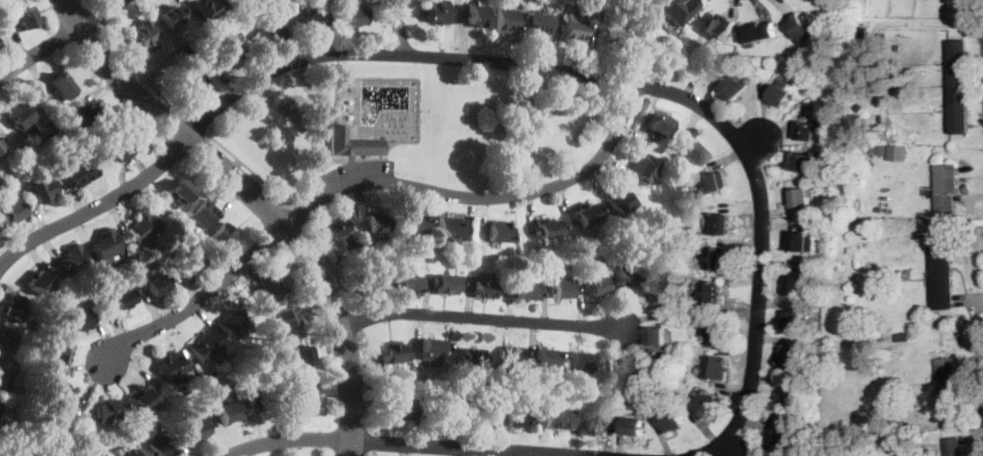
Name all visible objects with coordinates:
road: (84, 4)
building: (206, 8)
building: (676, 9)
building: (437, 12)
building: (476, 14)
road: (100, 15)
building: (172, 15)
building: (354, 16)
building: (26, 18)
road: (95, 18)
building: (307, 20)
building: (506, 20)
building: (542, 23)
building: (271, 26)
building: (804, 26)
road: (398, 27)
building: (573, 28)
building: (720, 28)
building: (759, 32)
building: (143, 35)
building: (270, 35)
building: (613, 39)
building: (231, 50)
road: (38, 53)
road: (141, 79)
building: (189, 82)
road: (639, 85)
building: (63, 87)
building: (957, 87)
building: (733, 88)
building: (781, 94)
building: (859, 106)
building: (89, 113)
building: (21, 116)
road: (199, 123)
building: (658, 123)
road: (525, 129)
building: (808, 130)
building: (521, 140)
building: (351, 143)
building: (120, 146)
building: (0, 147)
building: (897, 151)
building: (690, 153)
building: (85, 155)
building: (805, 162)
road: (247, 168)
building: (643, 168)
building: (80, 173)
building: (713, 181)
building: (945, 187)
building: (42, 191)
building: (179, 192)
road: (481, 197)
road: (258, 199)
building: (799, 200)
building: (620, 202)
road: (98, 206)
building: (11, 211)
building: (585, 213)
building: (202, 214)
road: (298, 215)
building: (413, 222)
building: (375, 223)
building: (144, 225)
building: (720, 225)
building: (335, 227)
building: (450, 227)
building: (548, 229)
building: (500, 231)
building: (223, 237)
building: (798, 241)
building: (106, 242)
building: (73, 258)
building: (396, 259)
building: (714, 259)
building: (190, 261)
road: (330, 266)
building: (625, 273)
building: (941, 277)
building: (40, 281)
building: (155, 281)
building: (270, 284)
building: (446, 284)
building: (369, 285)
building: (595, 285)
building: (793, 285)
building: (409, 286)
building: (484, 289)
building: (560, 289)
building: (525, 291)
building: (710, 293)
building: (654, 296)
building: (122, 297)
road: (200, 300)
building: (12, 307)
road: (481, 318)
building: (286, 319)
building: (794, 320)
building: (80, 321)
building: (232, 321)
road: (357, 323)
building: (716, 332)
building: (657, 336)
building: (904, 336)
building: (5, 342)
building: (207, 346)
building: (431, 351)
building: (61, 352)
building: (392, 352)
building: (302, 356)
building: (512, 356)
building: (472, 357)
building: (544, 357)
building: (789, 357)
building: (578, 362)
building: (172, 364)
building: (828, 365)
building: (635, 367)
building: (716, 367)
building: (6, 379)
road: (368, 382)
building: (948, 383)
building: (60, 395)
building: (259, 396)
building: (143, 397)
building: (384, 397)
building: (306, 398)
building: (785, 400)
building: (705, 404)
building: (111, 410)
building: (400, 410)
building: (226, 411)
building: (445, 412)
building: (485, 415)
building: (520, 417)
building: (557, 418)
building: (672, 420)
building: (634, 426)
building: (595, 427)
building: (194, 431)
building: (779, 436)
building: (872, 439)
road: (371, 443)
road: (399, 443)
building: (162, 446)
building: (921, 448)
building: (953, 448)
building: (10, 451)
building: (101, 453)
building: (135, 453)
road: (372, 454)
building: (42, 455)

